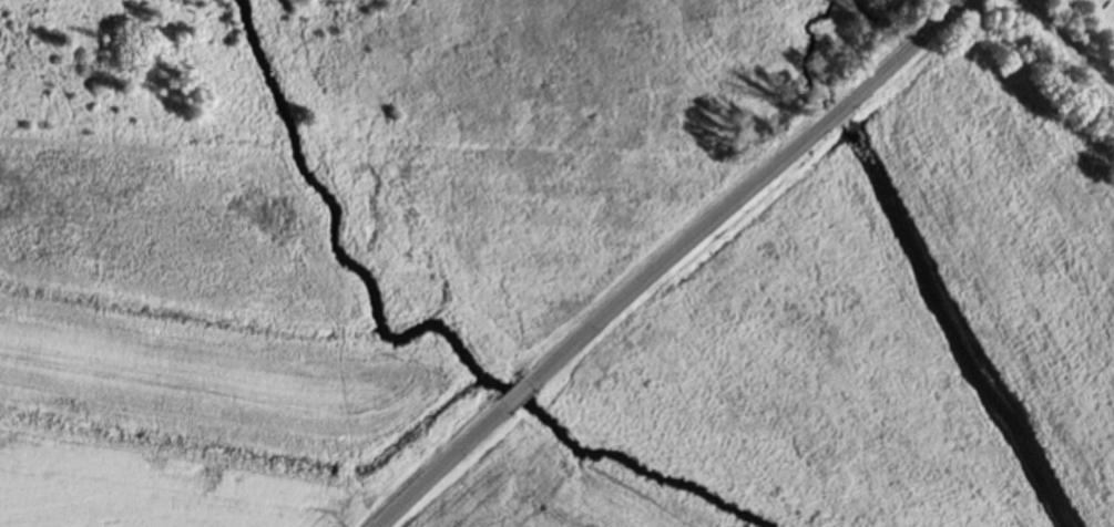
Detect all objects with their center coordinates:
road: (1066, 48)
road: (745, 192)
road: (517, 395)
road: (441, 466)
crop: (542, 496)

